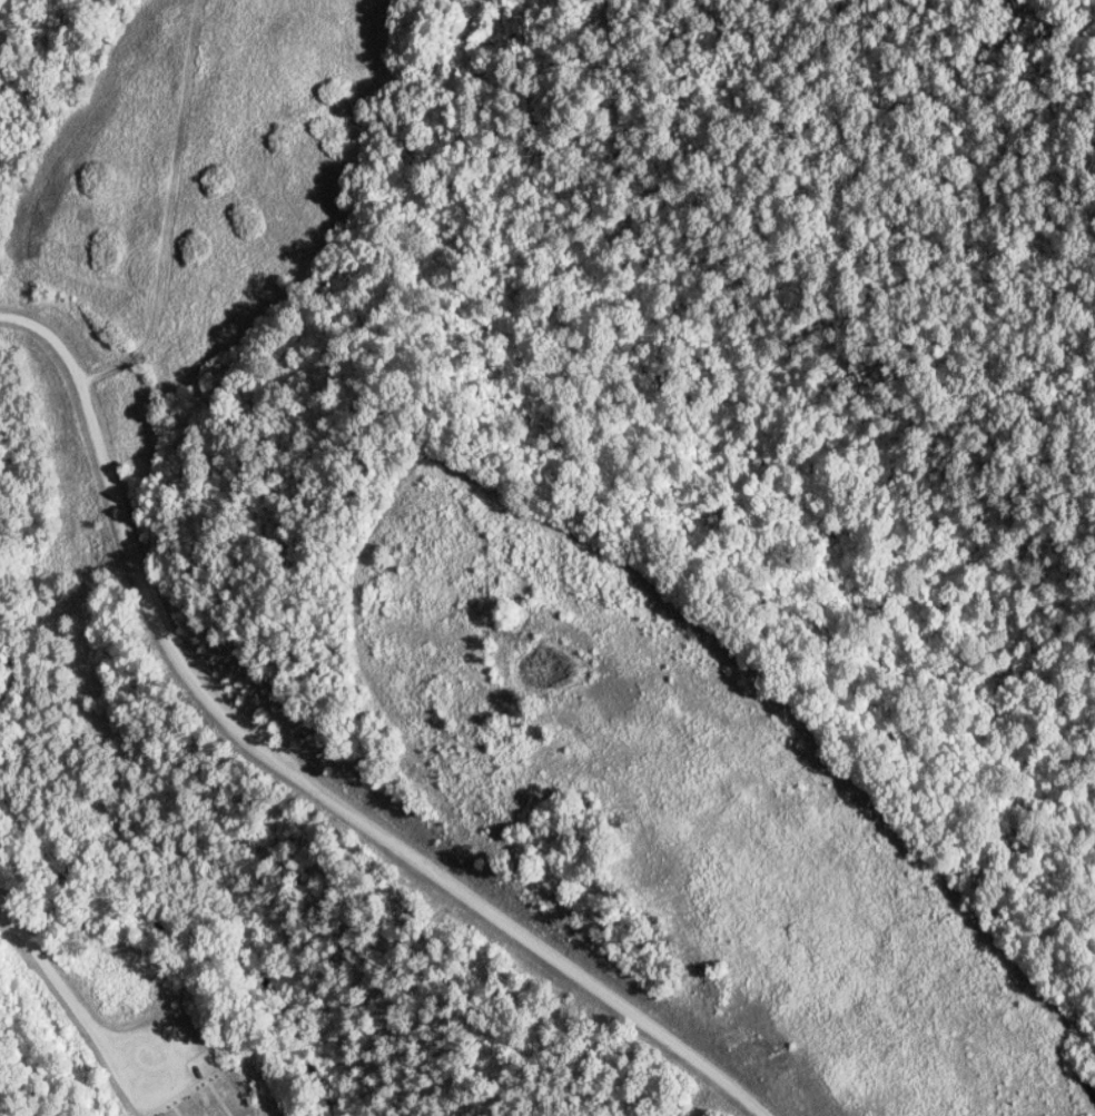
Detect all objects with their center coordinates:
road: (166, 208)
road: (302, 776)
road: (56, 974)

